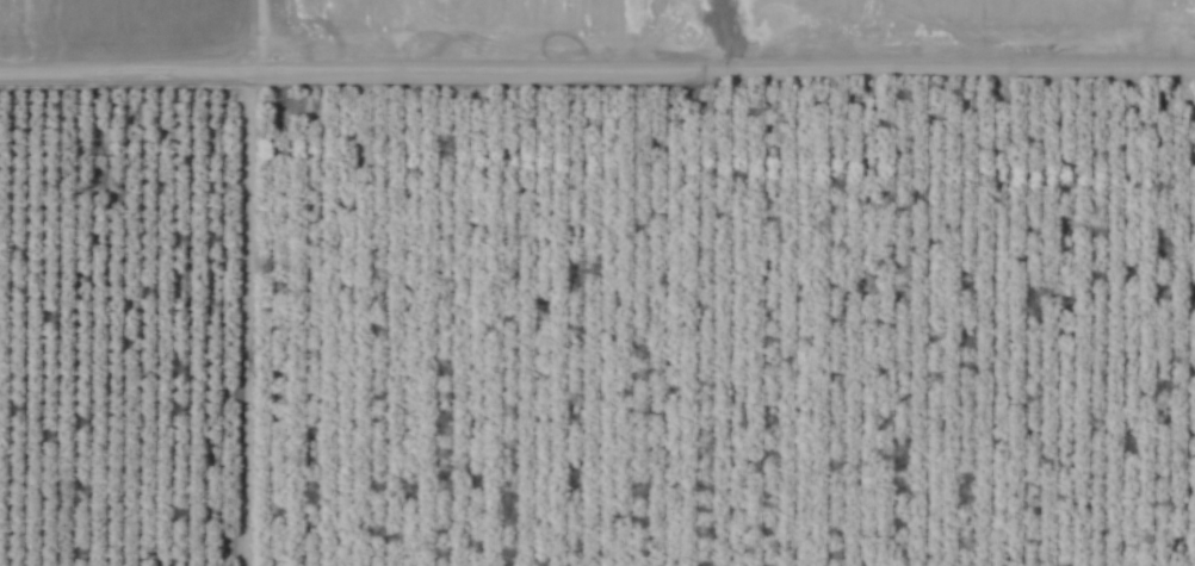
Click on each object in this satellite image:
road: (597, 110)
crop: (597, 282)
road: (209, 342)

